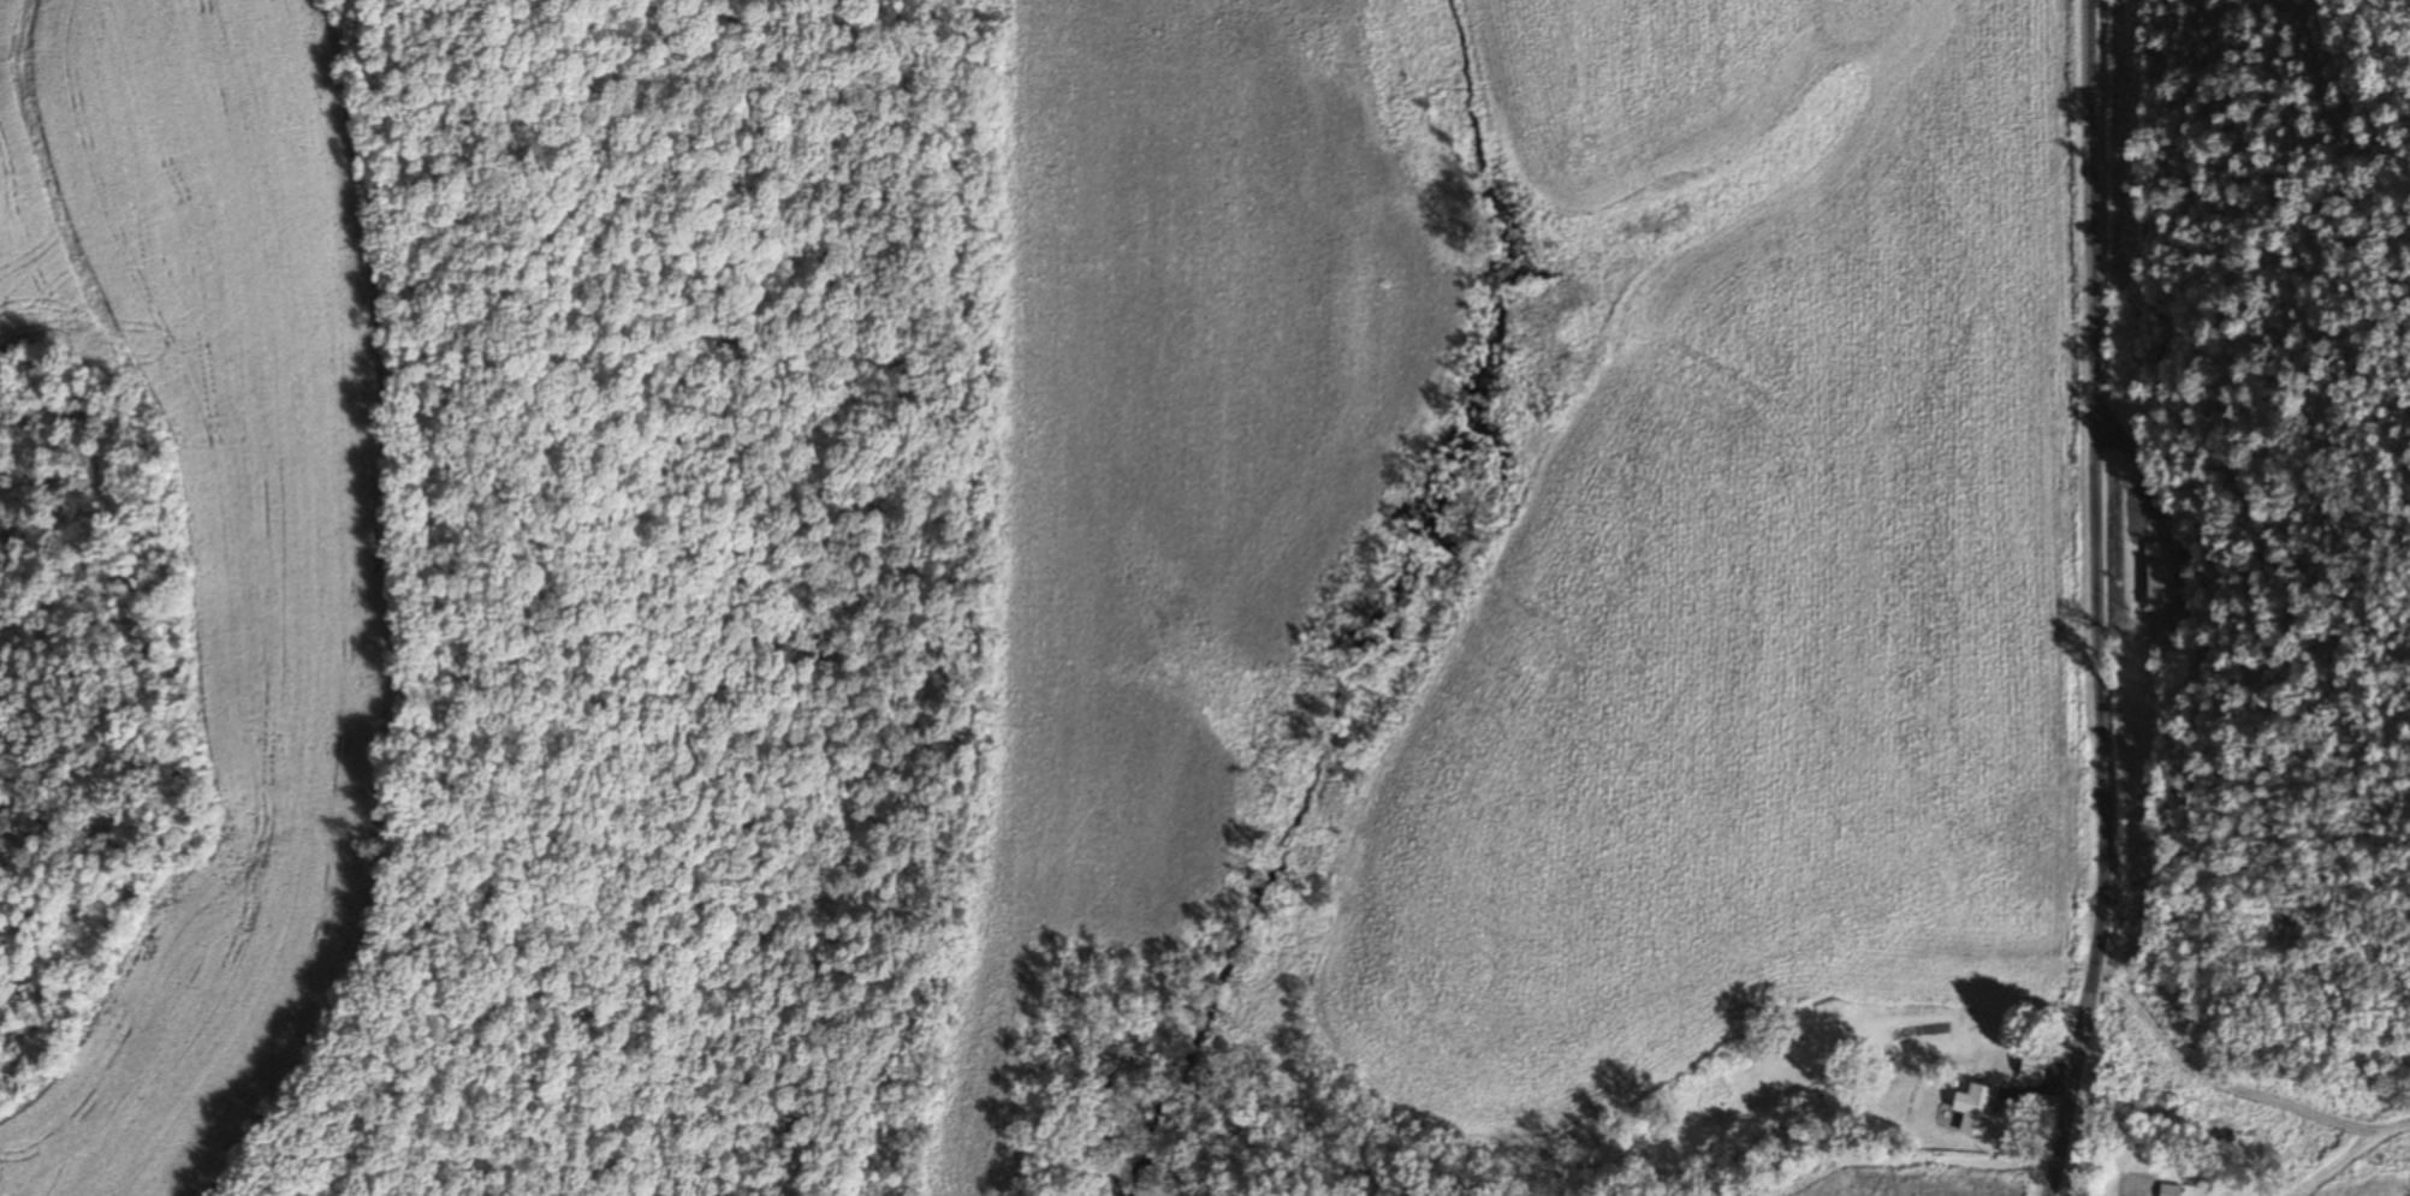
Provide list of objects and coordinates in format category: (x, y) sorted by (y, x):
building: (2165, 578)
road: (2105, 600)
building: (2032, 1067)
building: (1976, 1111)
building: (2169, 1190)

